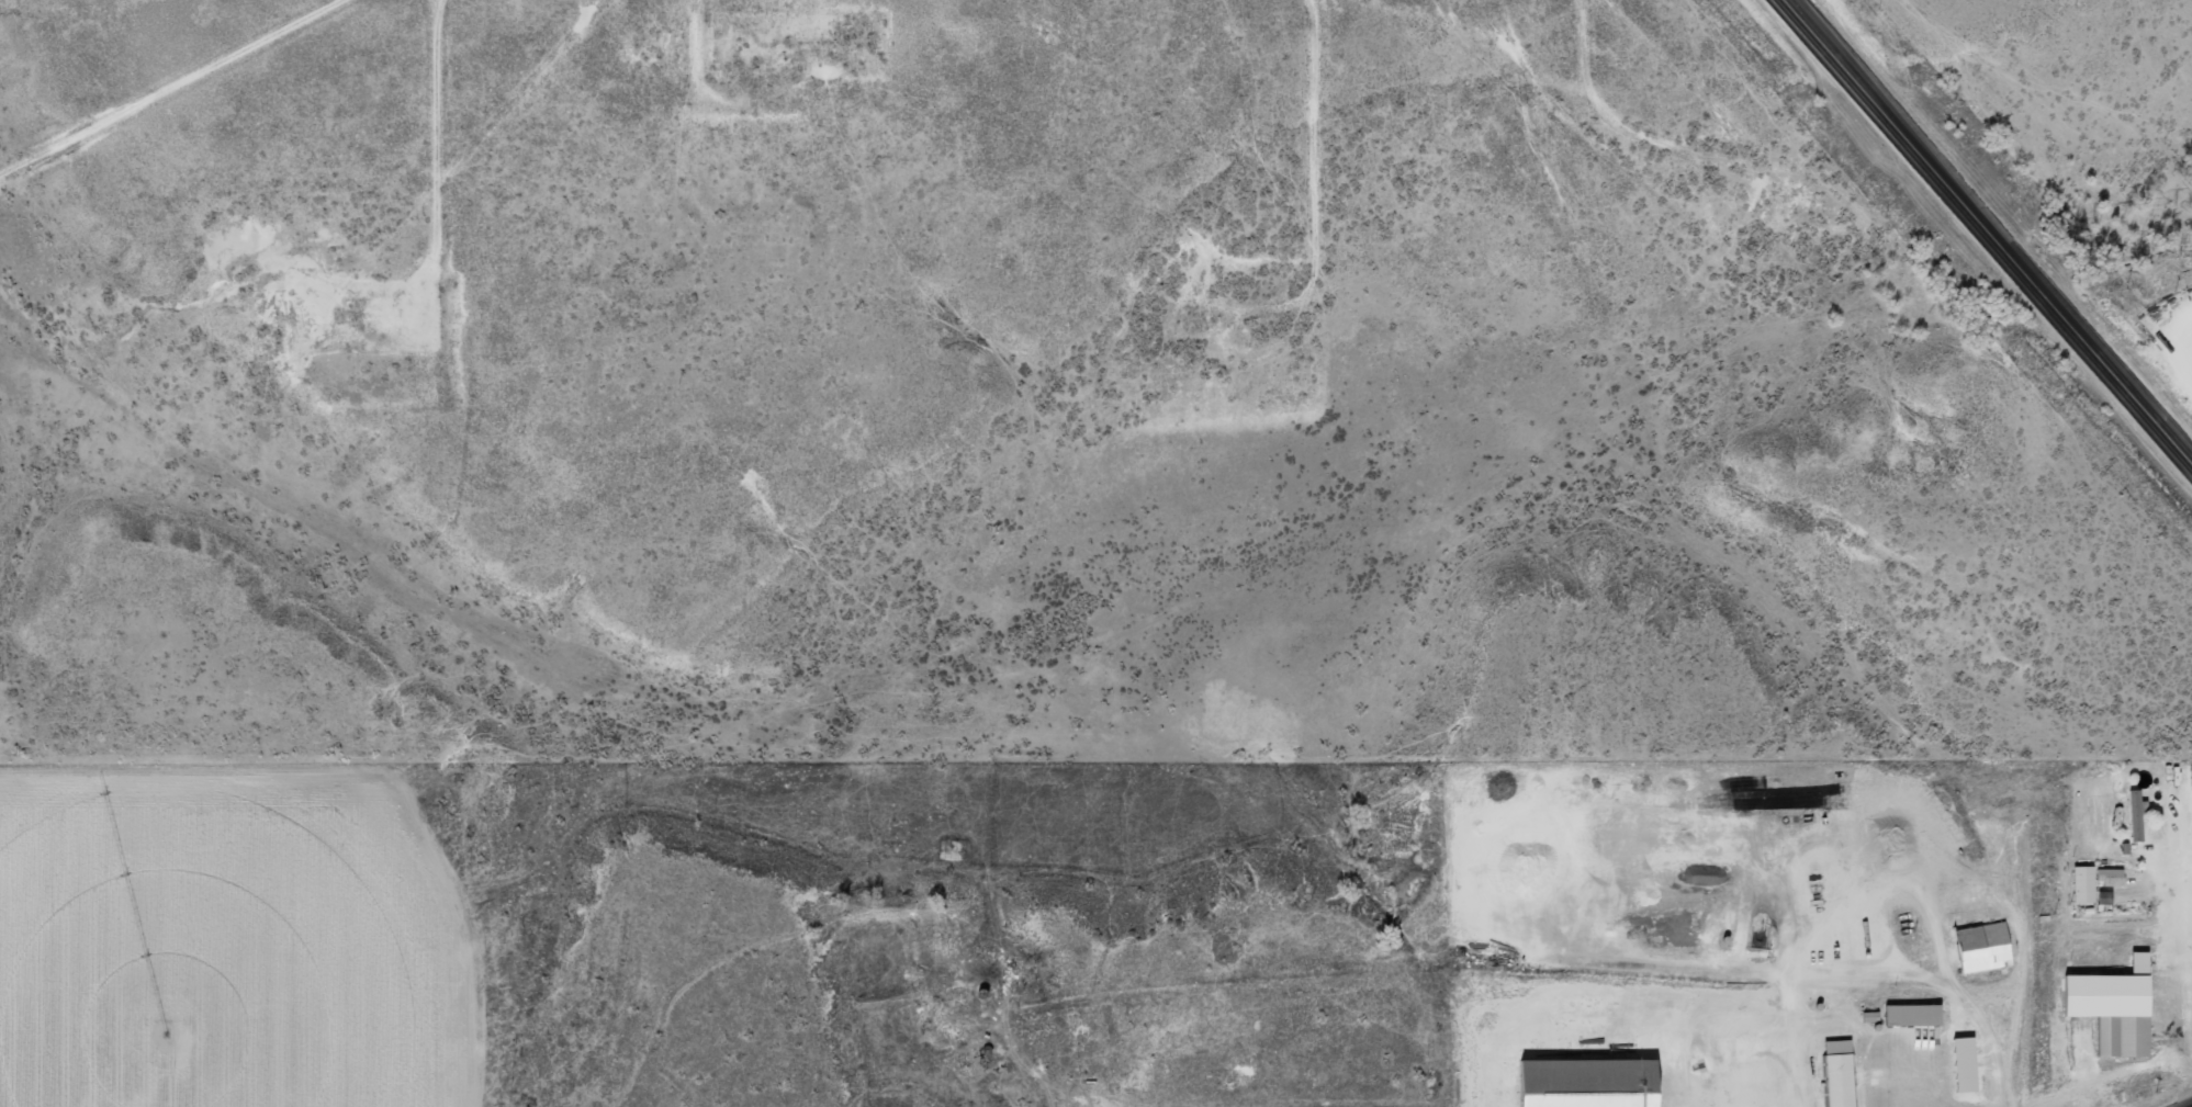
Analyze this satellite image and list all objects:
road: (182, 87)
road: (1993, 230)
building: (2137, 814)
building: (2111, 876)
building: (2083, 883)
building: (1985, 946)
building: (2116, 1006)
building: (1913, 1014)
building: (1966, 1063)
building: (1840, 1073)
building: (1592, 1082)

